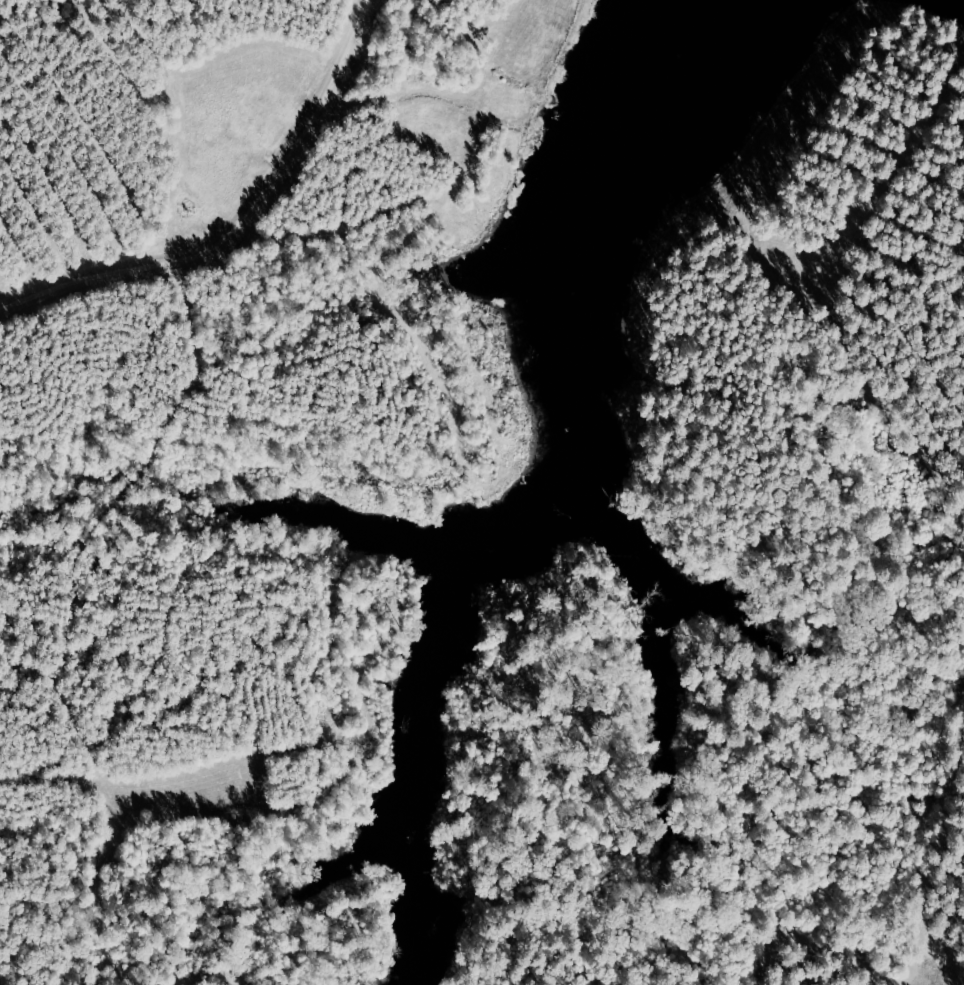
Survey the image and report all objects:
road: (239, 224)

